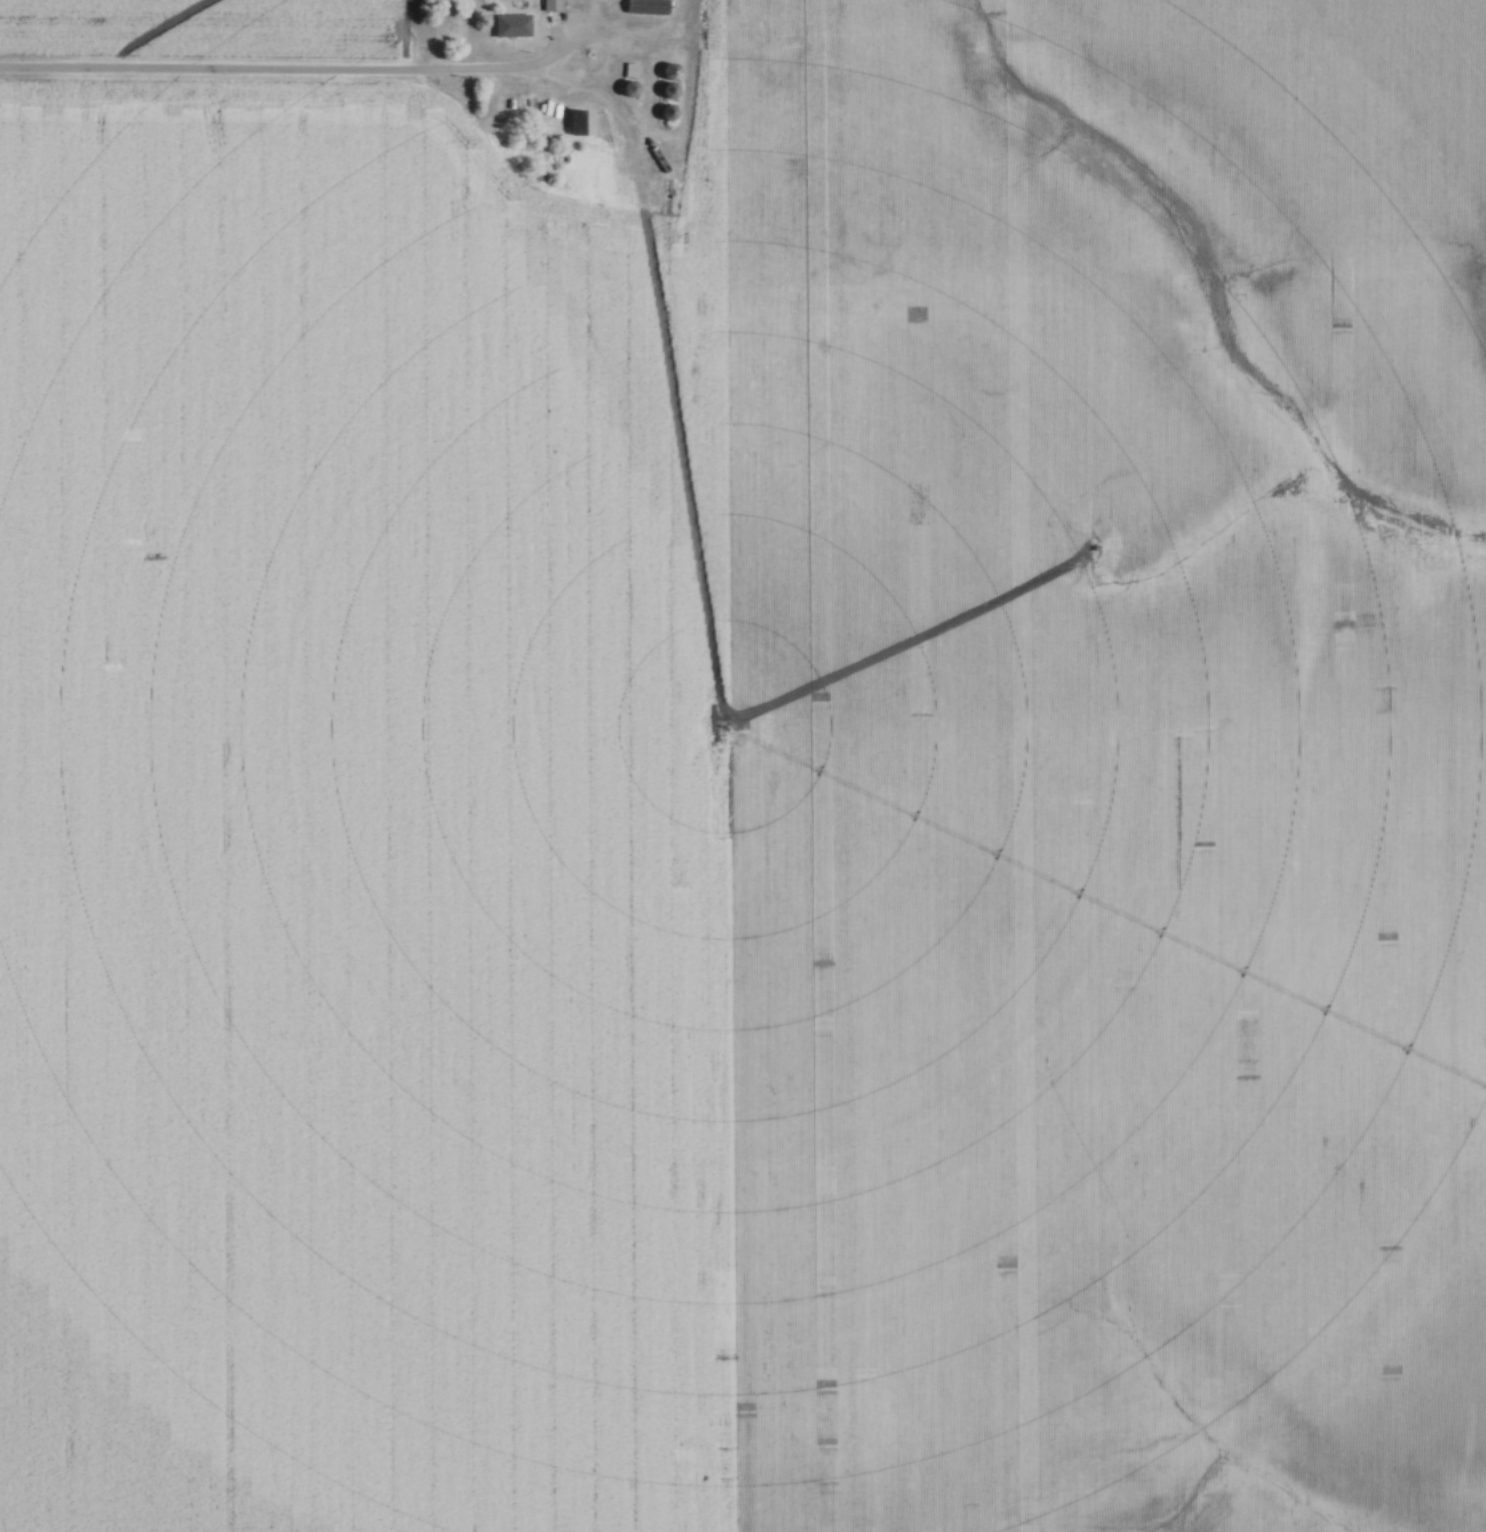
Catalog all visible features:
building: (551, 5)
building: (647, 7)
building: (512, 26)
road: (277, 74)
building: (581, 124)

